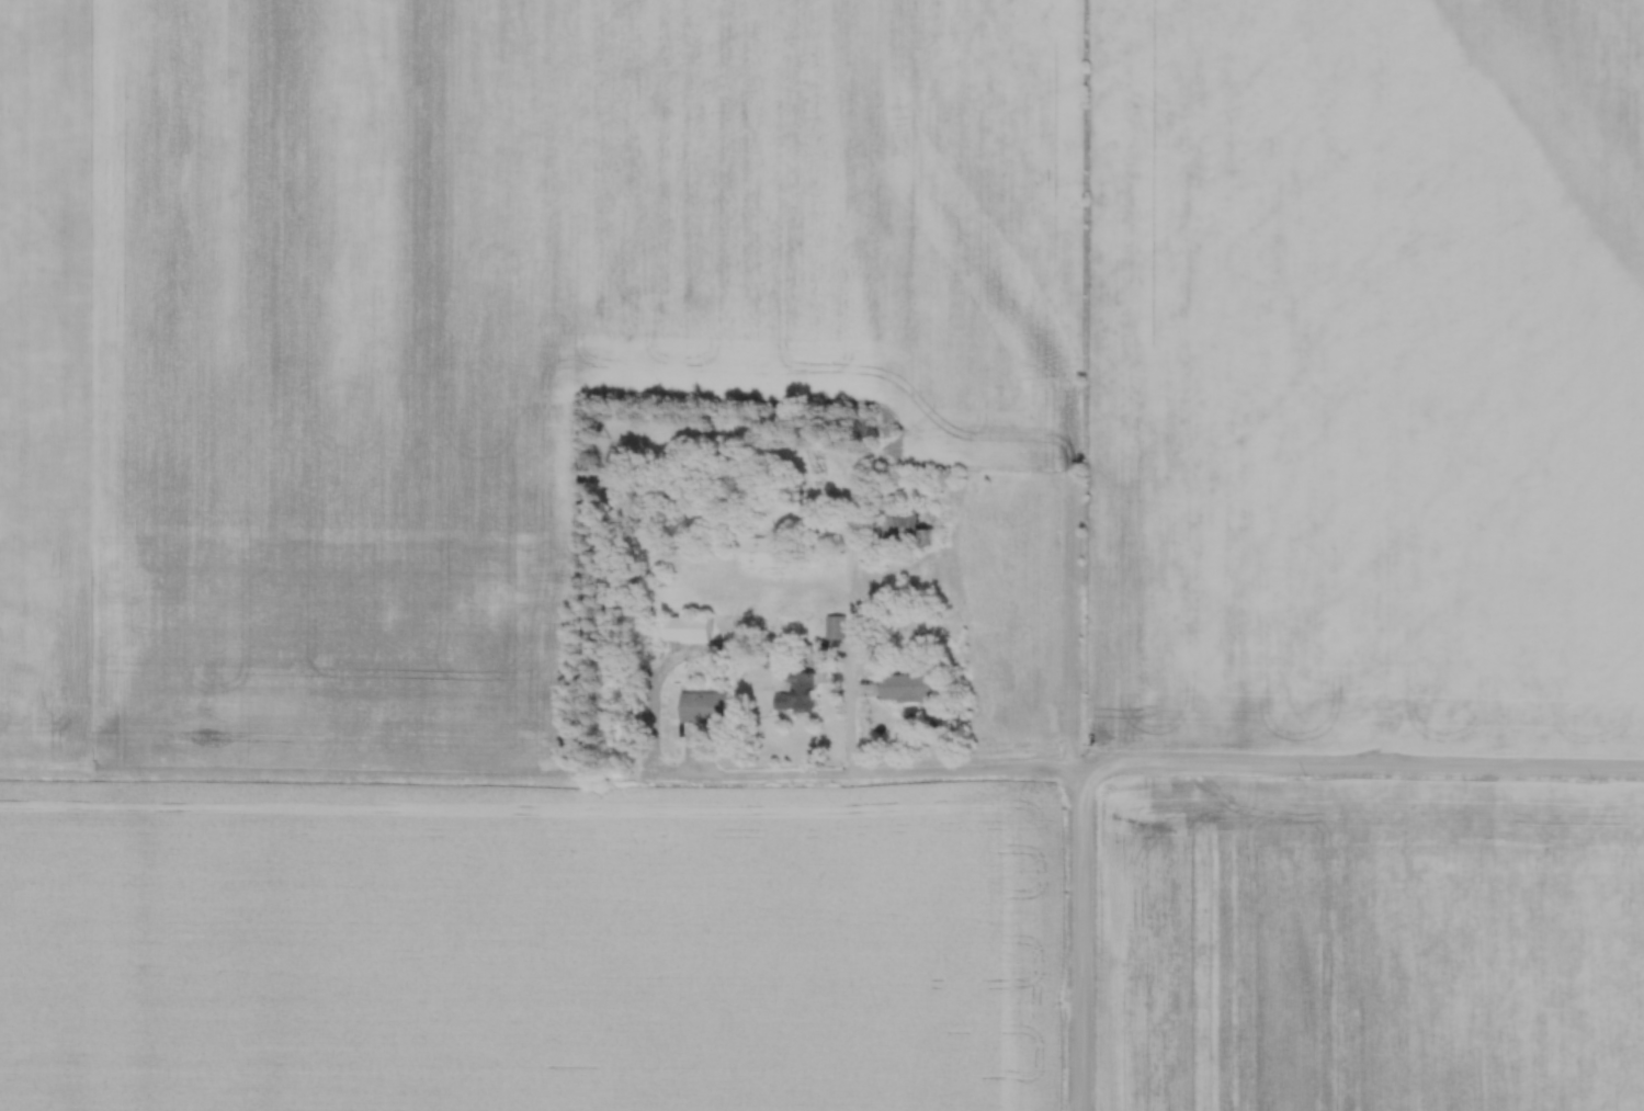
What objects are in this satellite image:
building: (772, 553)
building: (840, 628)
building: (696, 631)
building: (911, 689)
building: (803, 694)
building: (711, 708)
road: (860, 732)
road: (1360, 770)
road: (923, 774)
road: (1080, 942)

